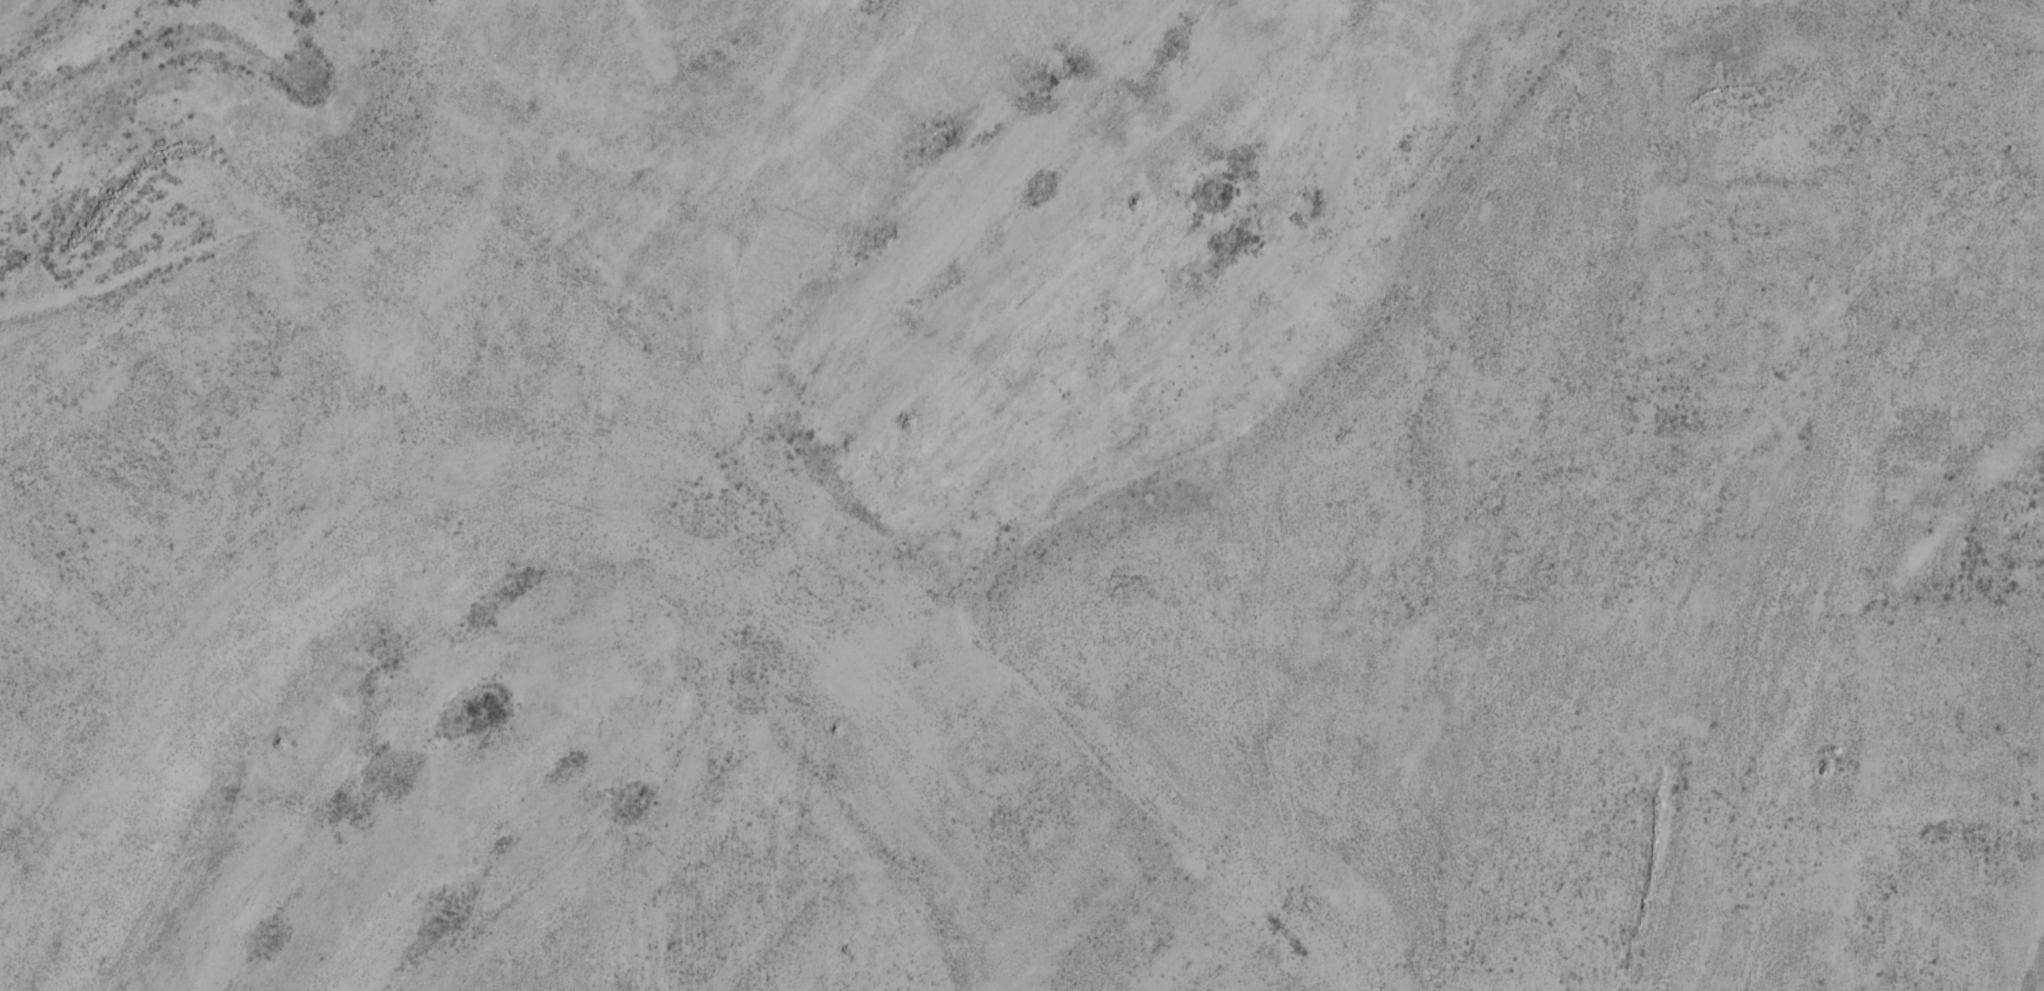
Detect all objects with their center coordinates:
quarry: (1046, 505)

